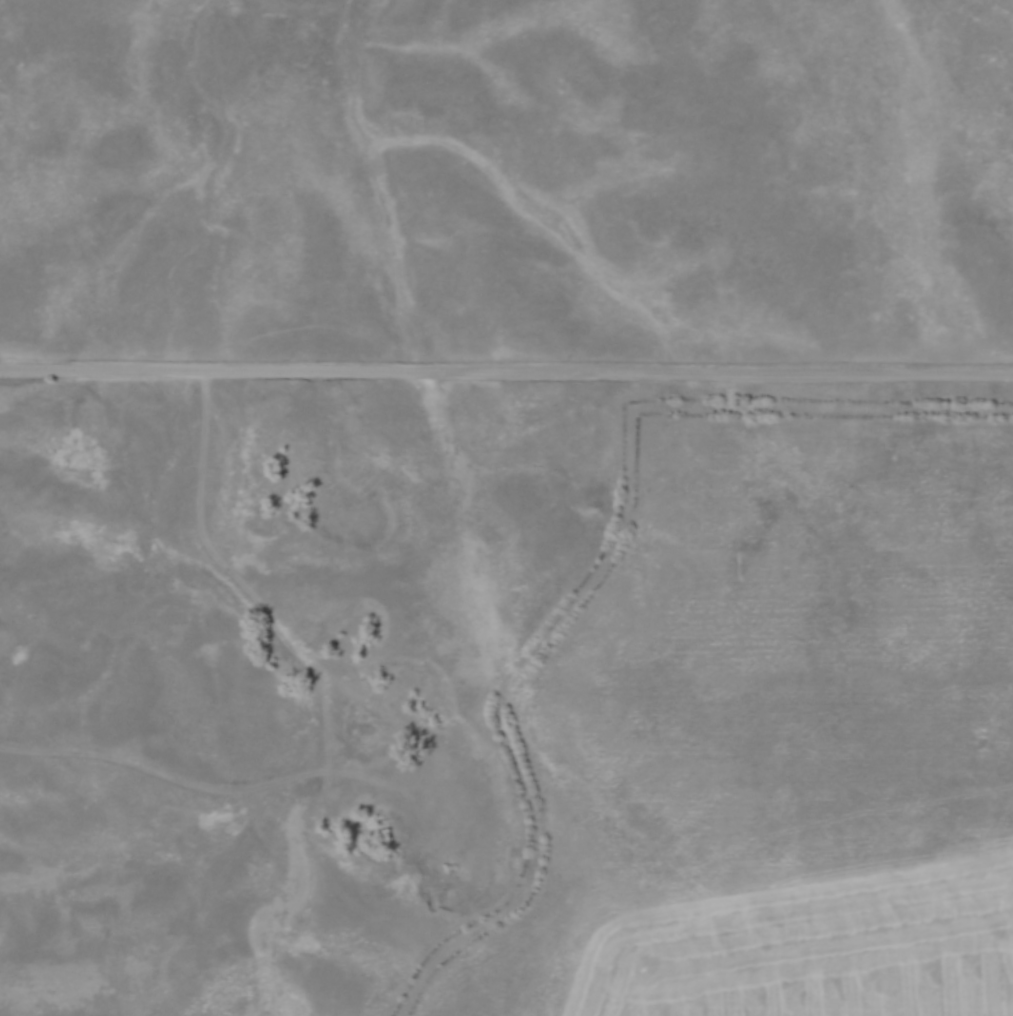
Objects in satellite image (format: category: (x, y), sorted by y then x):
road: (506, 370)
crop: (814, 950)

